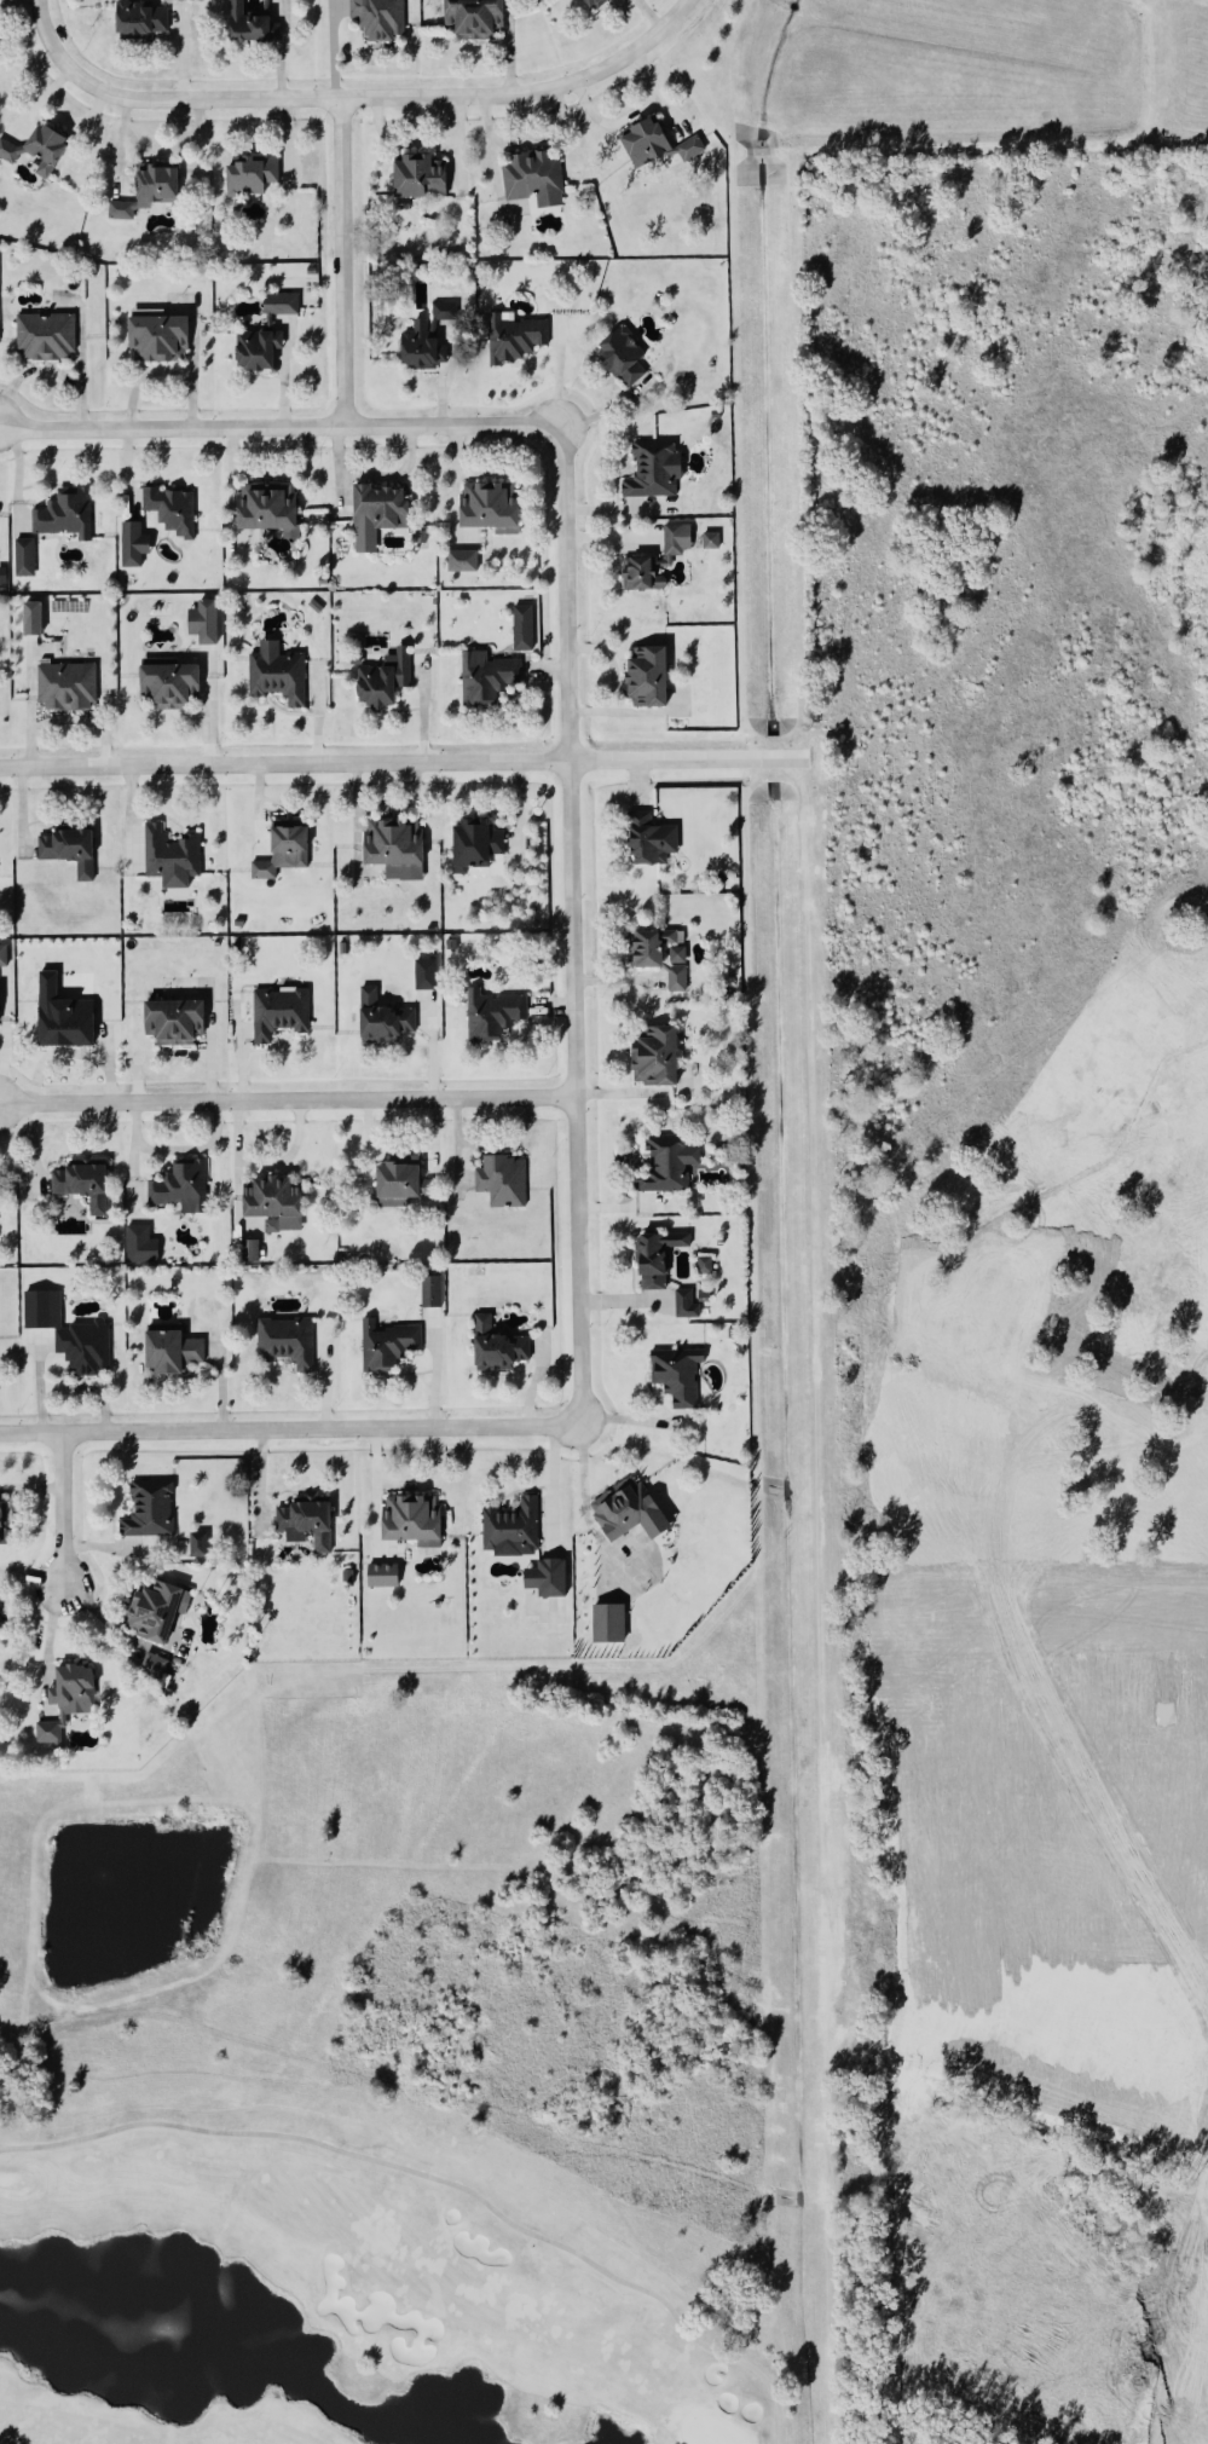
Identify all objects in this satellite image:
building: (593, 4)
building: (376, 19)
building: (470, 19)
building: (138, 21)
building: (247, 25)
road: (45, 29)
road: (383, 99)
building: (652, 146)
building: (36, 151)
building: (247, 177)
building: (416, 178)
building: (531, 179)
building: (145, 192)
road: (346, 265)
road: (1065, 278)
building: (279, 304)
building: (42, 337)
building: (155, 339)
building: (513, 339)
building: (418, 348)
building: (254, 351)
building: (619, 358)
road: (921, 381)
road: (282, 429)
building: (651, 472)
road: (1067, 485)
building: (486, 507)
building: (264, 508)
building: (169, 510)
building: (62, 515)
building: (380, 516)
building: (709, 543)
building: (132, 545)
building: (23, 559)
building: (462, 561)
building: (654, 562)
building: (2, 576)
building: (31, 618)
building: (202, 623)
building: (520, 630)
building: (273, 675)
building: (482, 678)
building: (645, 678)
building: (377, 683)
building: (167, 687)
building: (64, 688)
road: (1167, 688)
road: (67, 721)
road: (866, 758)
road: (403, 765)
building: (646, 840)
building: (391, 843)
building: (472, 845)
building: (65, 851)
building: (281, 851)
building: (168, 857)
road: (929, 900)
road: (1069, 900)
road: (574, 929)
building: (652, 949)
building: (4, 955)
building: (424, 975)
building: (674, 981)
building: (276, 1013)
building: (490, 1016)
building: (62, 1018)
building: (380, 1021)
building: (170, 1023)
road: (432, 1047)
building: (652, 1057)
road: (1, 1067)
road: (289, 1102)
road: (1075, 1107)
road: (174, 1152)
road: (265, 1163)
building: (661, 1166)
building: (499, 1181)
building: (397, 1183)
building: (79, 1185)
building: (178, 1188)
building: (270, 1200)
building: (140, 1247)
building: (250, 1252)
building: (653, 1259)
building: (705, 1265)
building: (428, 1293)
building: (682, 1305)
road: (1074, 1313)
building: (283, 1342)
building: (383, 1347)
building: (81, 1348)
building: (495, 1348)
building: (168, 1354)
building: (674, 1375)
road: (435, 1376)
road: (937, 1426)
road: (291, 1432)
road: (408, 1486)
road: (580, 1486)
building: (146, 1510)
building: (623, 1510)
road: (64, 1512)
building: (408, 1519)
road: (1177, 1519)
building: (302, 1525)
building: (1, 1526)
building: (509, 1527)
building: (197, 1545)
building: (382, 1576)
building: (547, 1579)
building: (154, 1611)
building: (607, 1625)
road: (46, 1641)
building: (150, 1669)
building: (70, 1691)
building: (46, 1733)
park: (336, 2284)

